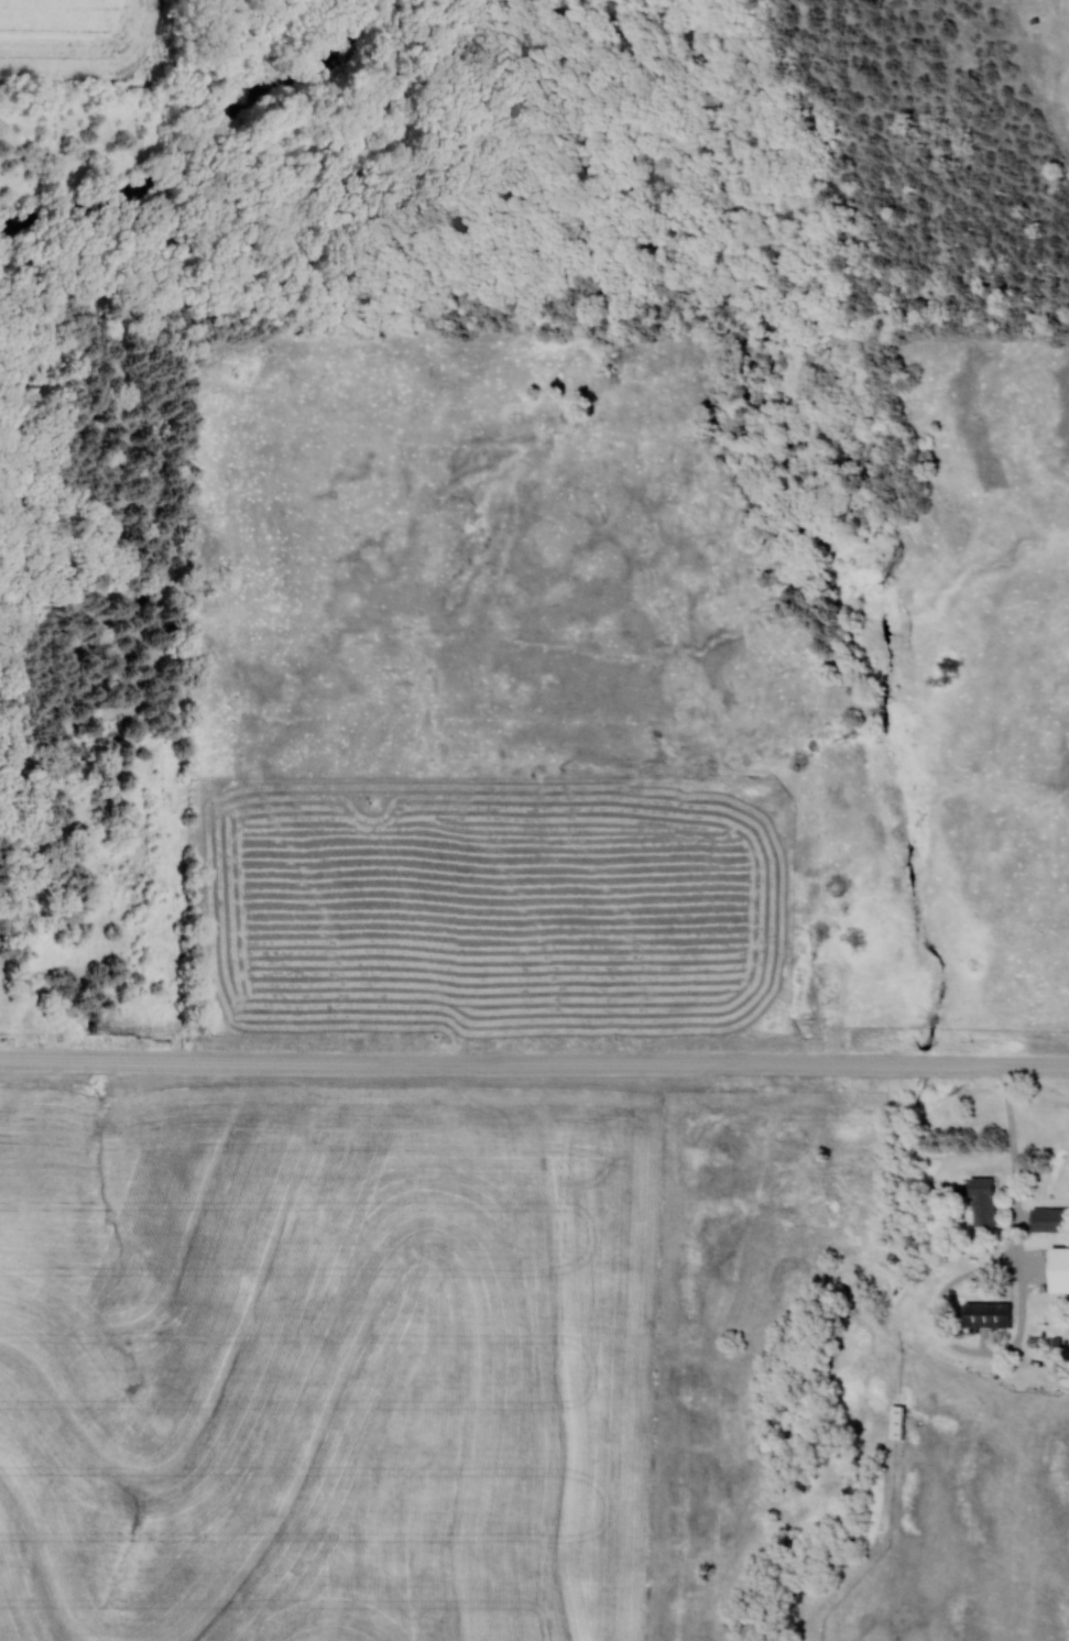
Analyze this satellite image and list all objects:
dam: (1054, 3)
parking lot: (1067, 81)
park: (636, 167)
road: (534, 1065)
road: (1016, 1167)
building: (985, 1201)
building: (1052, 1222)
building: (1063, 1273)
building: (993, 1315)
road: (959, 1343)
building: (902, 1423)

